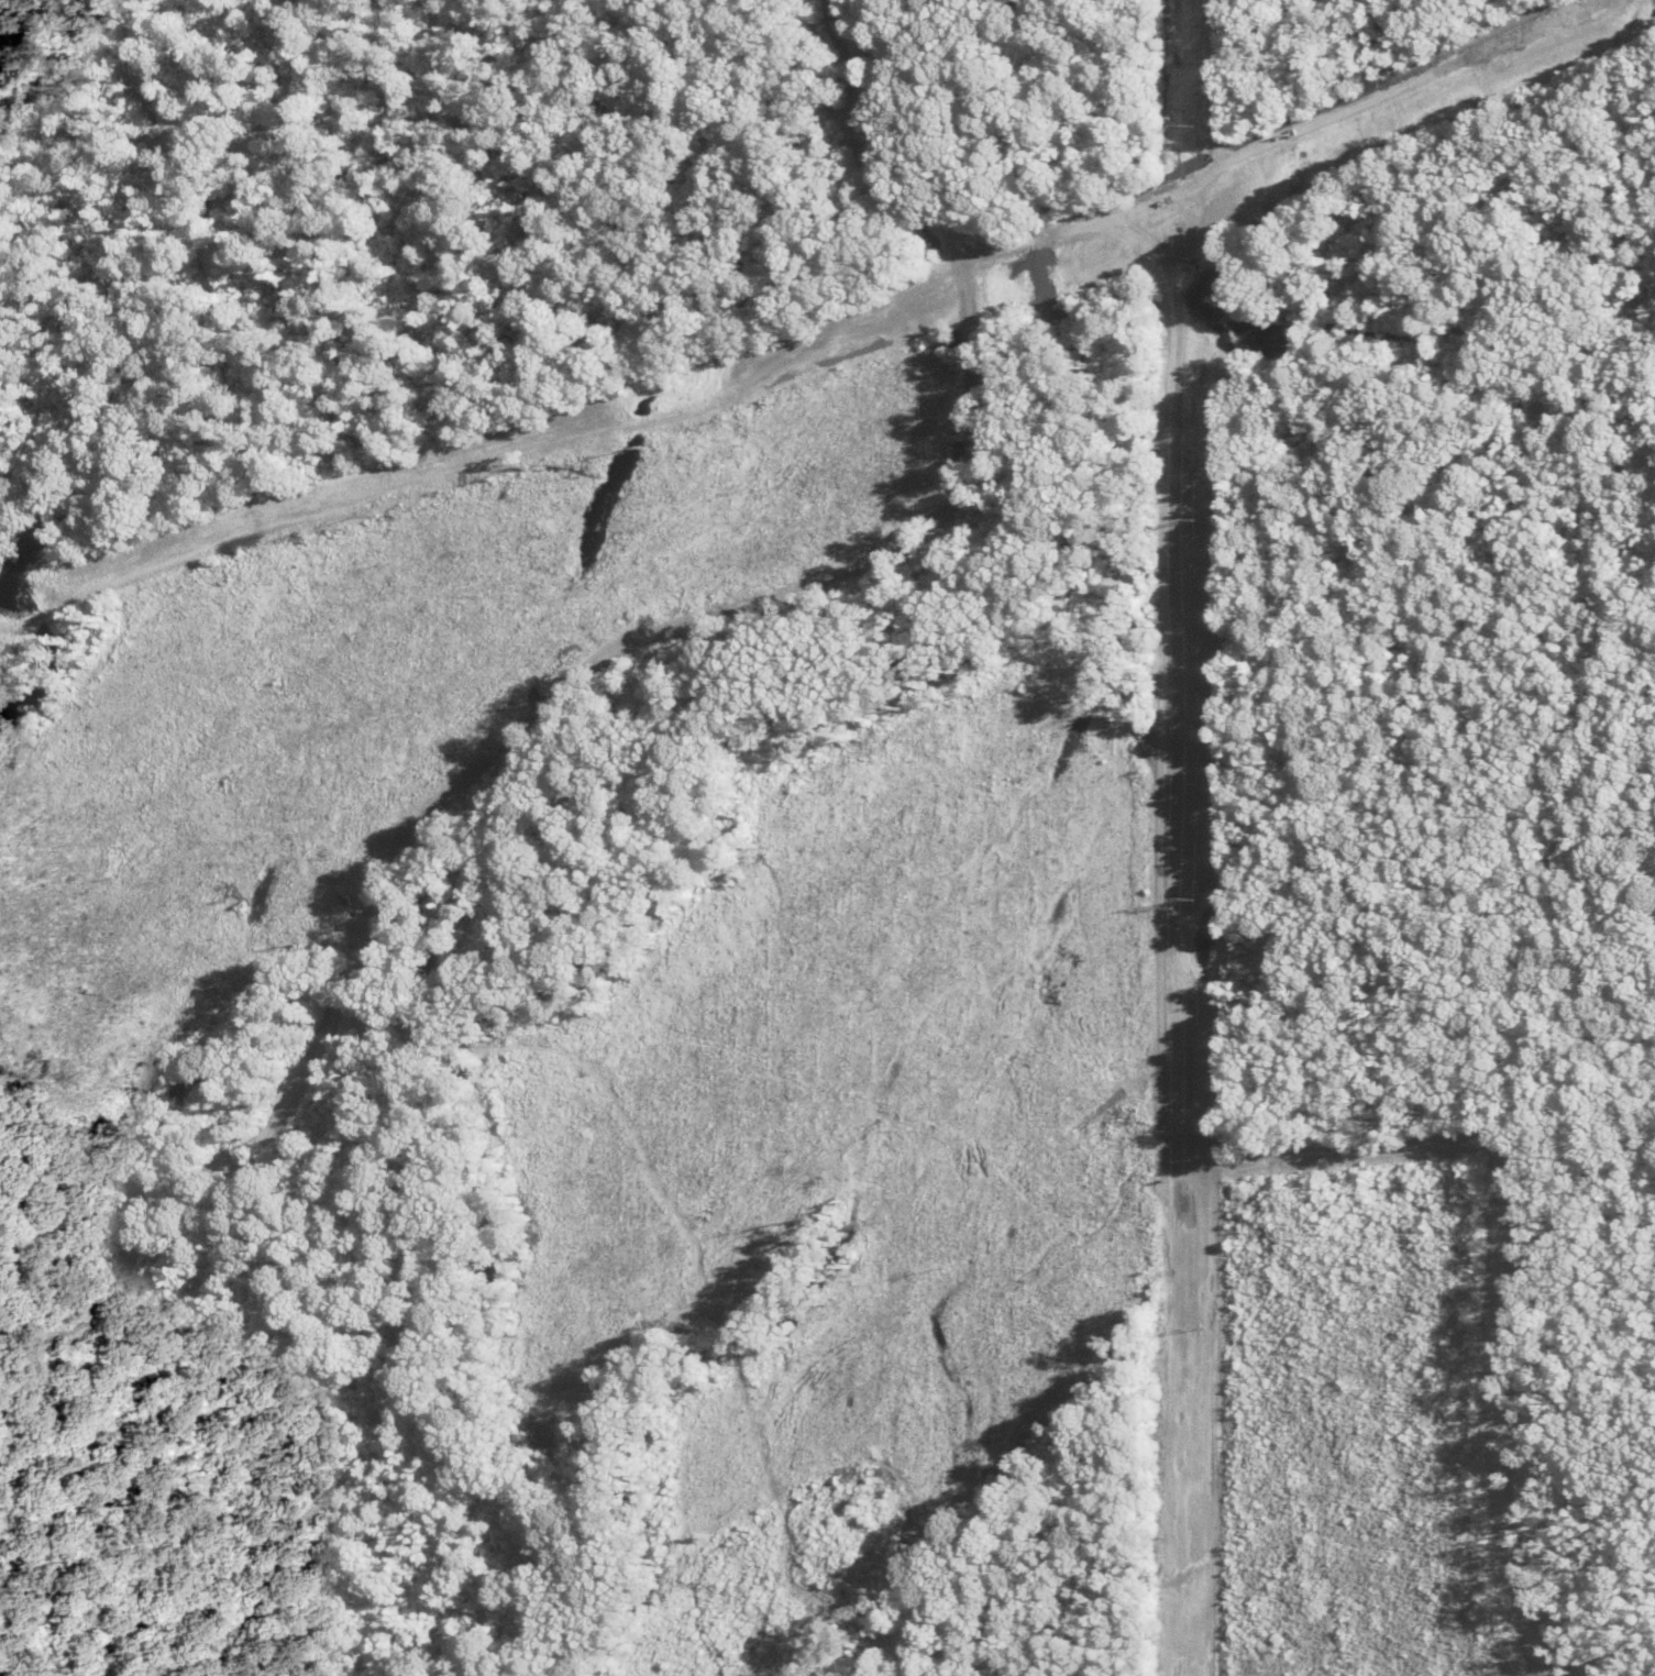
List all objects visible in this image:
power tower: (1193, 124)
power tower: (1190, 519)
power tower: (1184, 896)
power tower: (1190, 1326)

